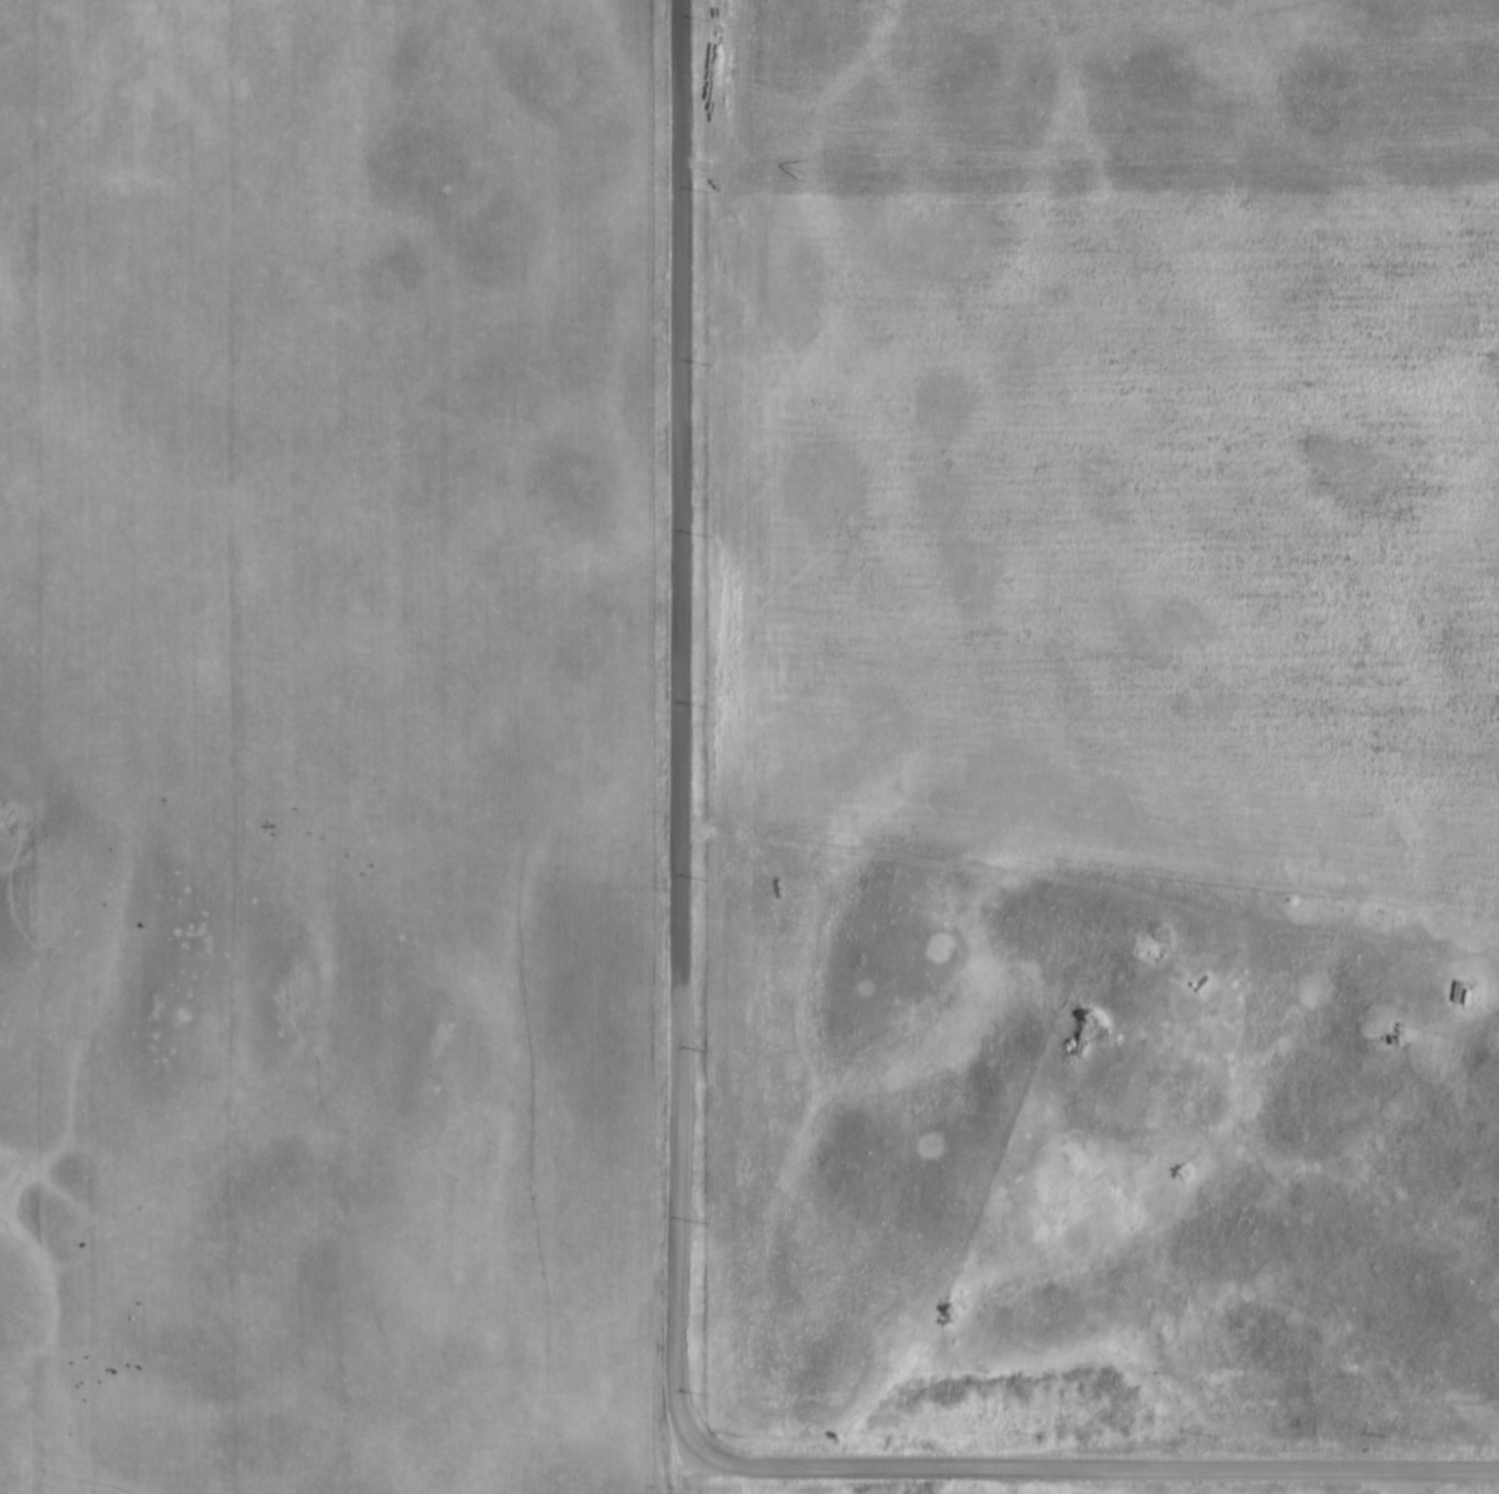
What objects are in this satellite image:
road: (675, 700)
road: (1067, 1470)

